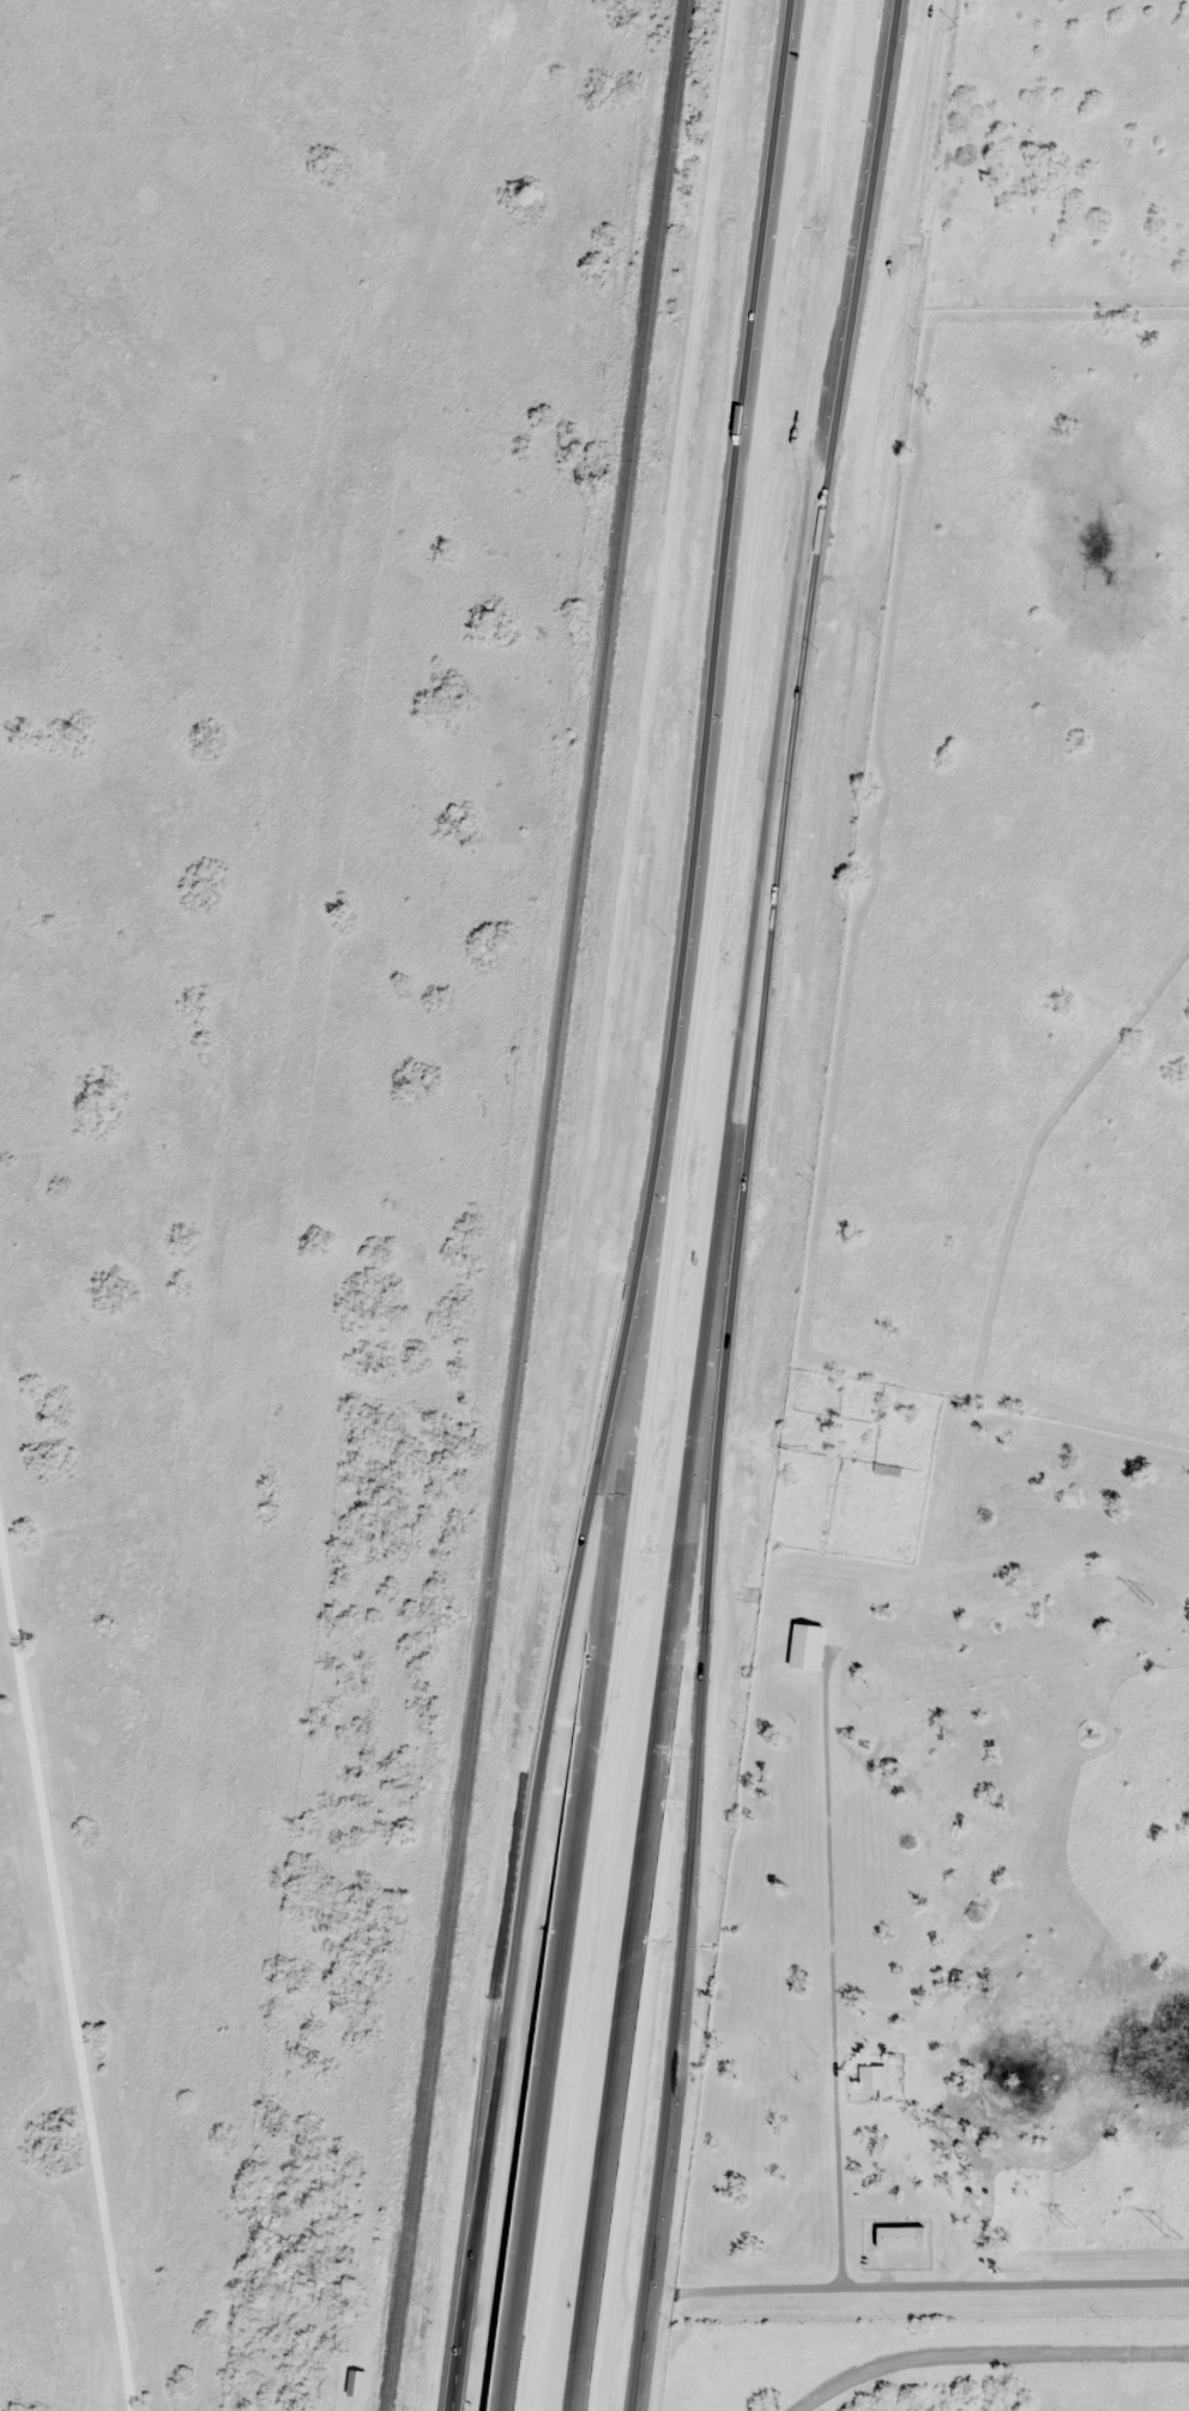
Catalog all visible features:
road: (731, 526)
road: (798, 643)
railway: (533, 1205)
building: (888, 1469)
road: (592, 1521)
power tower: (1149, 1603)
building: (808, 1645)
road: (587, 1732)
road: (688, 1791)
road: (646, 1849)
road: (71, 1907)
road: (832, 2000)
building: (874, 2075)
road: (483, 2199)
power tower: (1070, 2226)
building: (901, 2237)
power tower: (1171, 2241)
road: (917, 2288)
road: (638, 2352)
road: (988, 2355)
building: (356, 2381)

